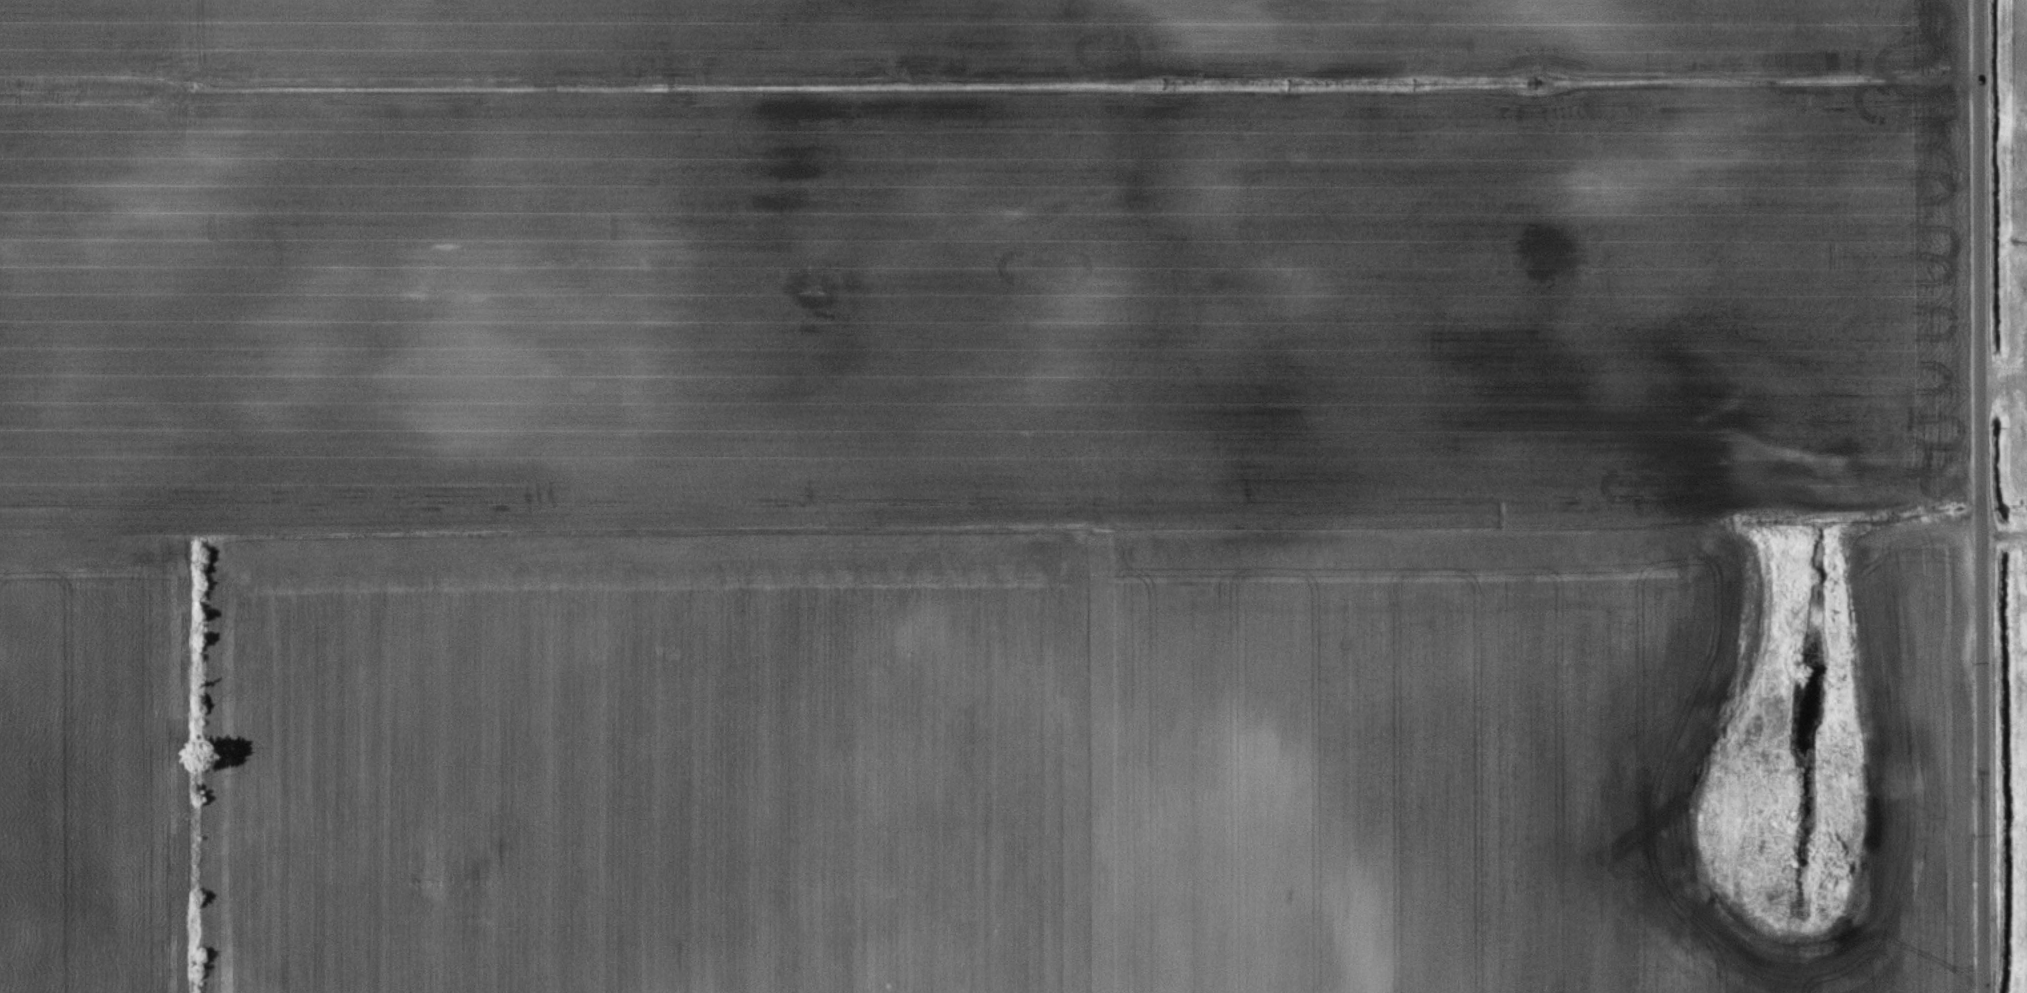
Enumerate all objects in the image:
road: (1987, 496)

